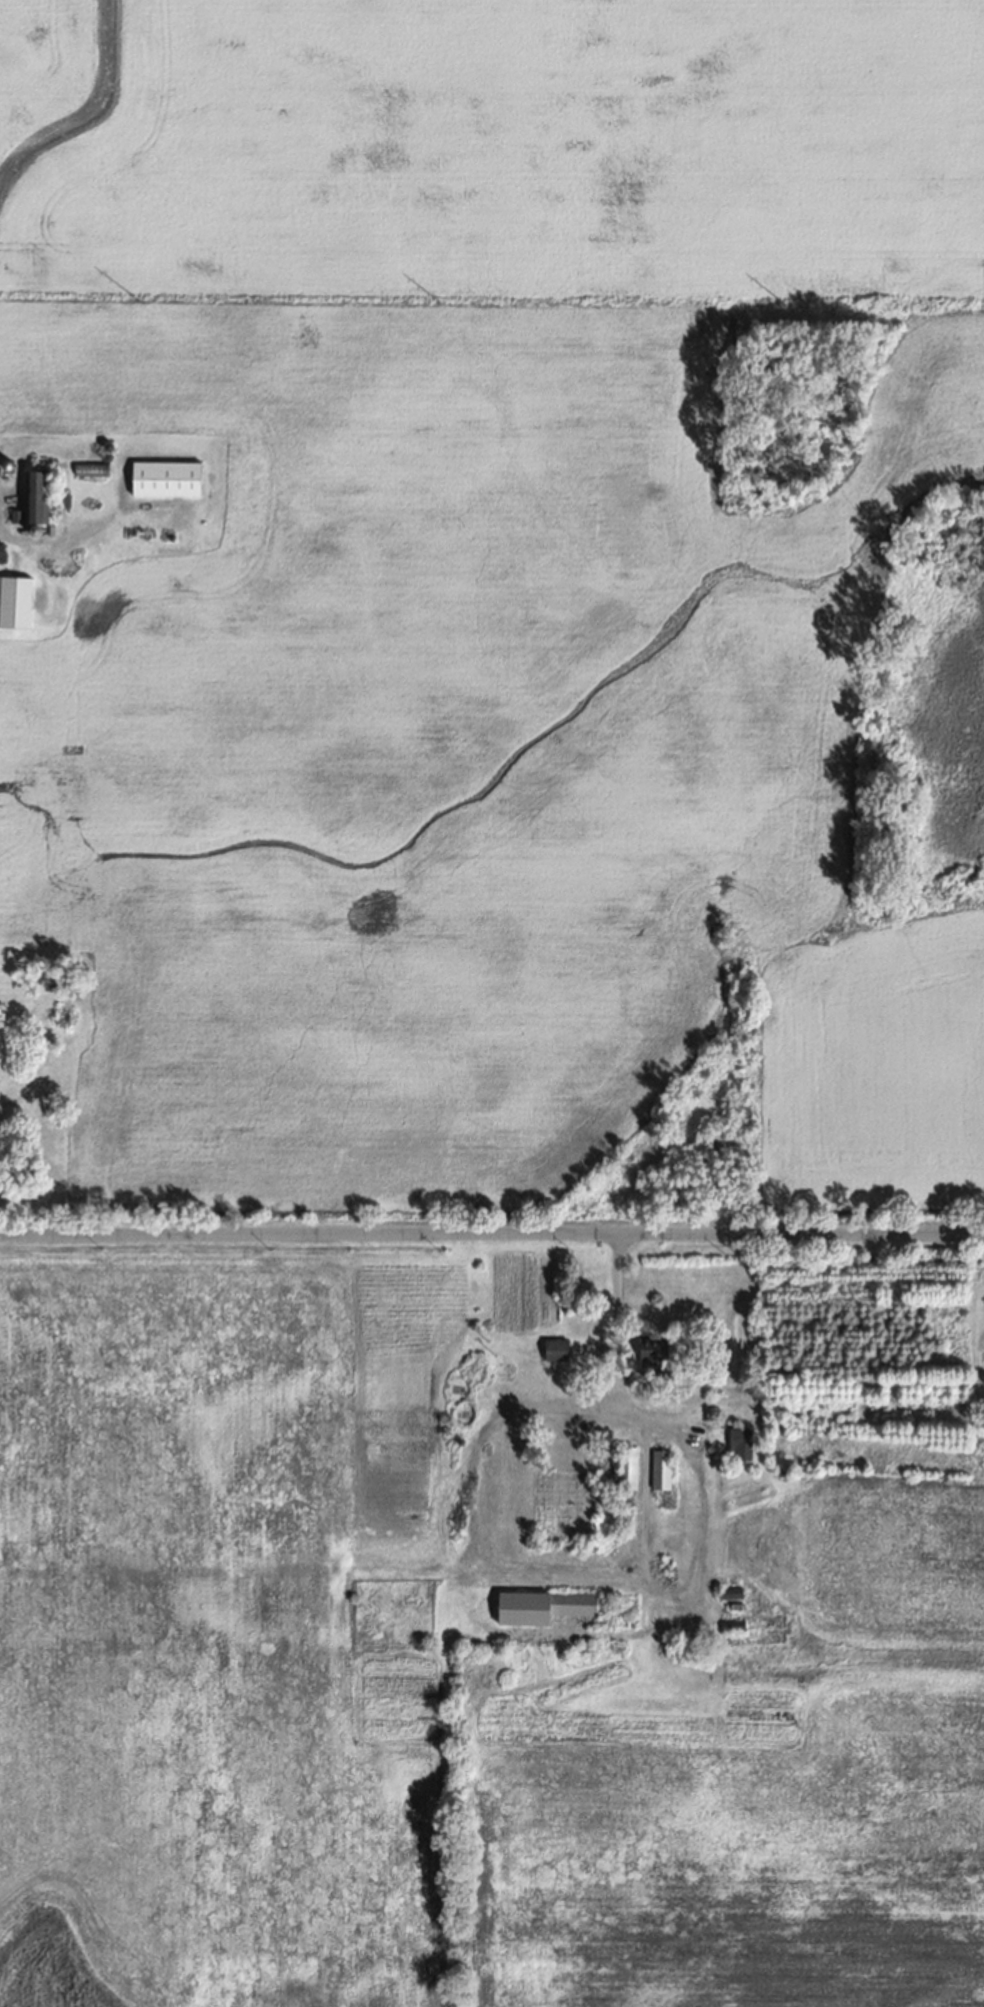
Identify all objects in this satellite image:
building: (91, 445)
building: (105, 445)
building: (6, 464)
building: (87, 466)
building: (164, 476)
building: (33, 490)
building: (13, 515)
building: (49, 529)
building: (32, 530)
road: (54, 545)
building: (2, 553)
building: (13, 599)
road: (491, 1232)
building: (555, 1347)
building: (650, 1354)
building: (739, 1441)
building: (624, 1465)
building: (659, 1467)
building: (597, 1488)
road: (643, 1496)
road: (480, 1556)
building: (727, 1591)
building: (548, 1602)
building: (731, 1624)

